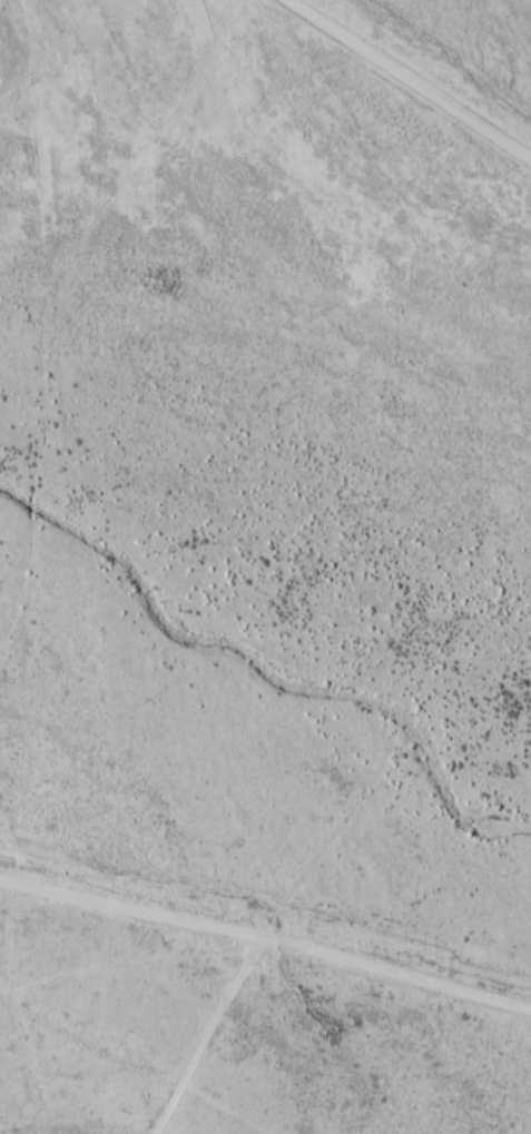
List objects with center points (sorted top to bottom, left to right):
road: (317, 634)

